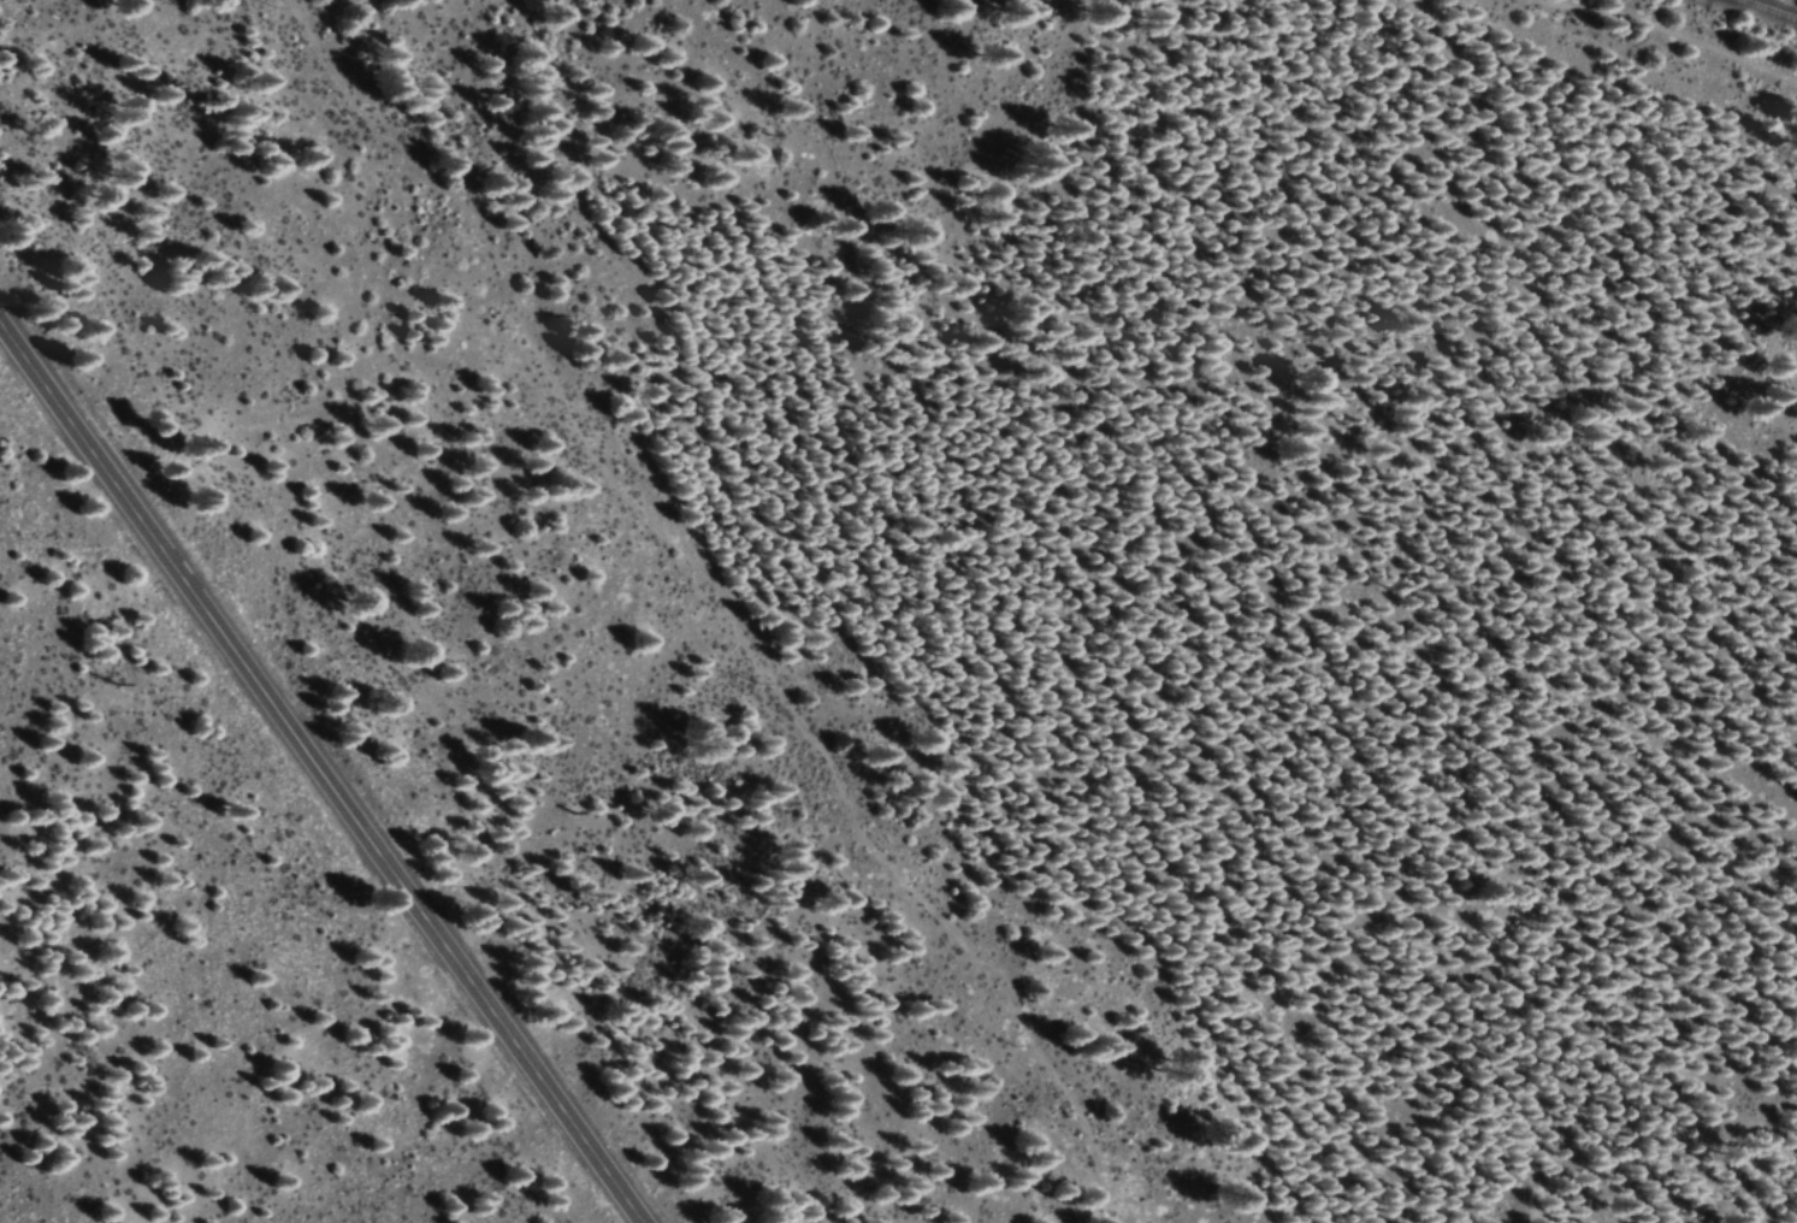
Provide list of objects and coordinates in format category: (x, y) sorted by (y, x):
railway: (1765, 10)
road: (321, 769)

